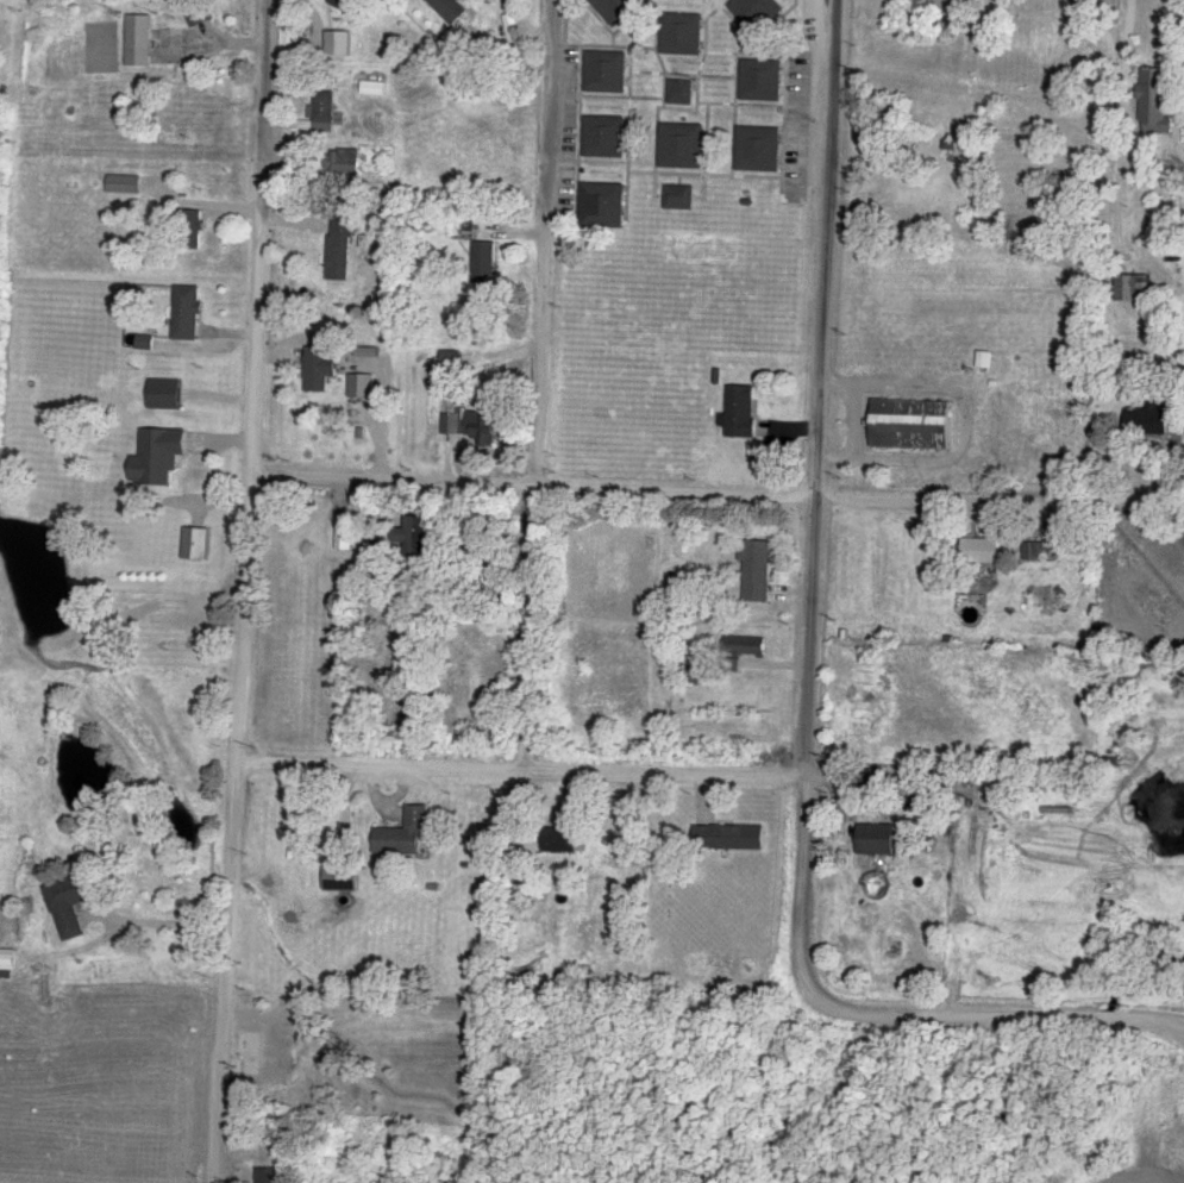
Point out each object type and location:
building: (345, 5)
building: (450, 10)
building: (616, 10)
building: (199, 12)
building: (757, 13)
building: (681, 35)
building: (138, 42)
building: (606, 71)
building: (762, 81)
building: (370, 86)
building: (681, 93)
building: (1154, 101)
building: (322, 112)
building: (887, 117)
building: (604, 137)
road: (1123, 138)
building: (682, 145)
building: (758, 149)
building: (346, 161)
building: (124, 183)
building: (678, 196)
building: (602, 206)
building: (340, 249)
building: (484, 259)
building: (1132, 289)
building: (187, 312)
building: (450, 359)
building: (317, 369)
road: (541, 388)
building: (165, 394)
building: (741, 412)
building: (1148, 418)
building: (450, 424)
building: (914, 424)
building: (481, 427)
road: (1182, 444)
building: (158, 456)
road: (391, 478)
road: (674, 492)
road: (998, 502)
building: (418, 534)
building: (344, 536)
building: (196, 544)
building: (981, 550)
building: (1035, 550)
building: (757, 571)
road: (245, 591)
building: (140, 612)
building: (198, 612)
building: (1094, 616)
building: (744, 646)
building: (701, 675)
road: (809, 687)
road: (521, 770)
building: (405, 834)
building: (877, 839)
building: (564, 840)
building: (69, 906)
road: (155, 921)
building: (8, 960)
building: (272, 1057)
building: (306, 1093)
building: (267, 1175)

